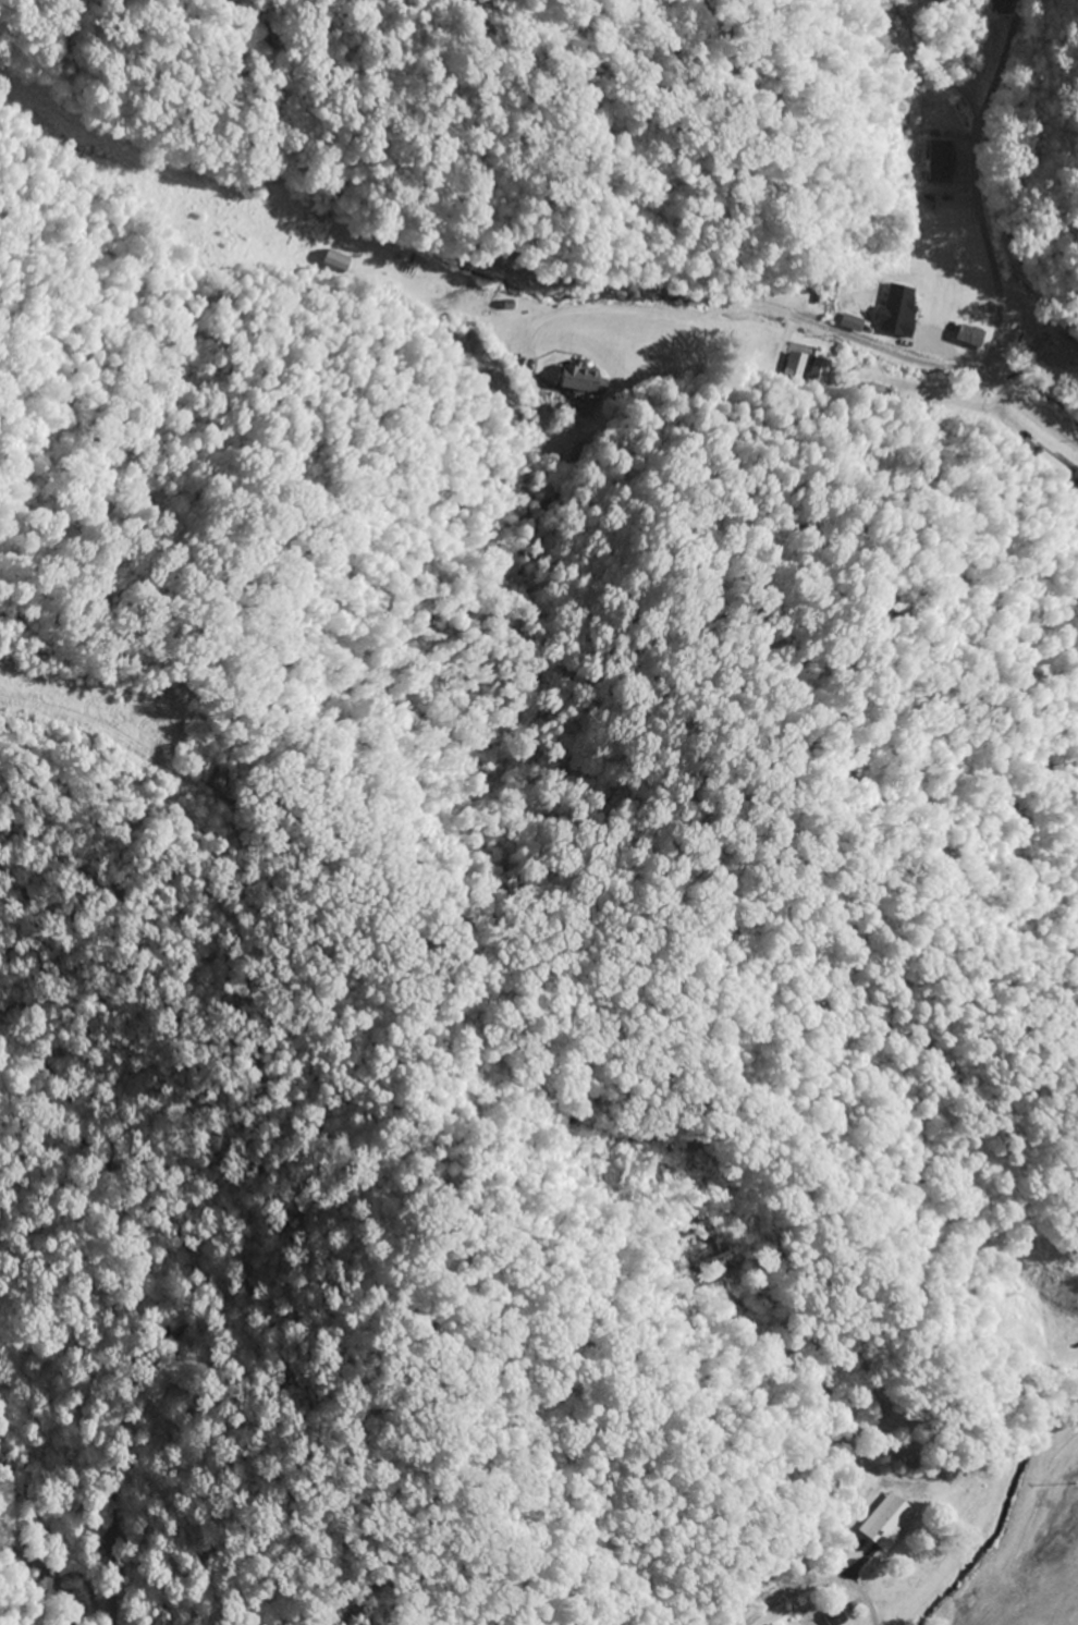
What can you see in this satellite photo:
building: (941, 140)
building: (968, 337)
building: (1058, 353)
road: (941, 377)
building: (891, 1522)
building: (837, 1616)

